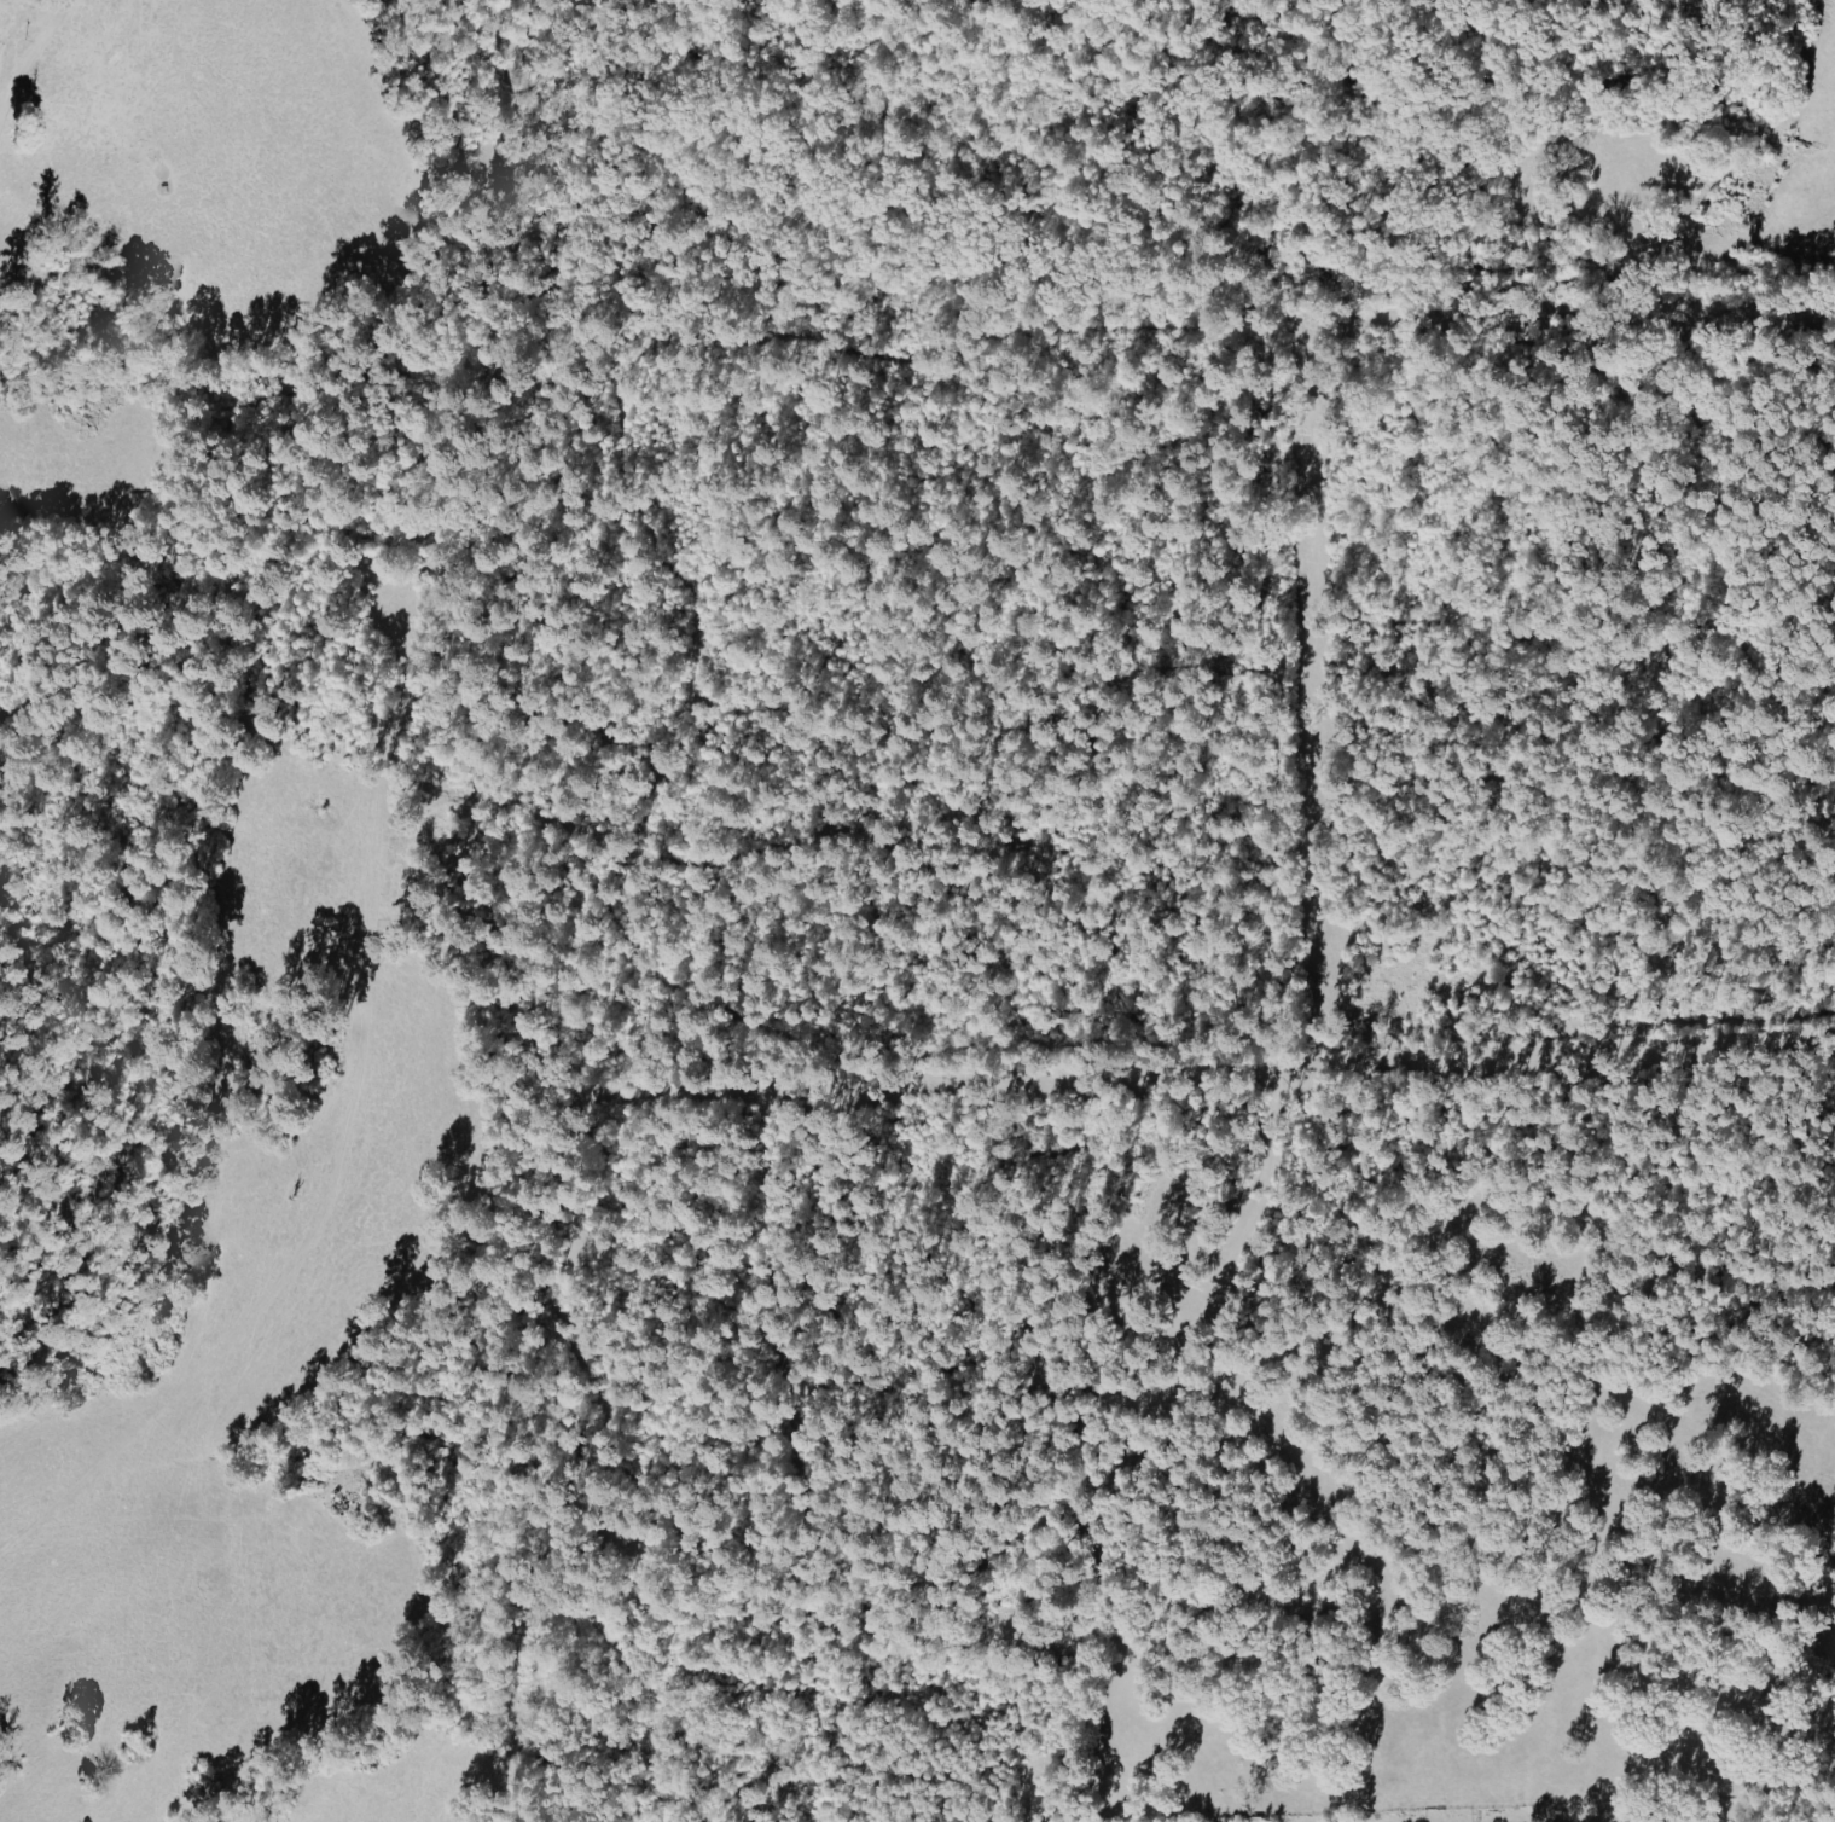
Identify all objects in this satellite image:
road: (4, 57)

